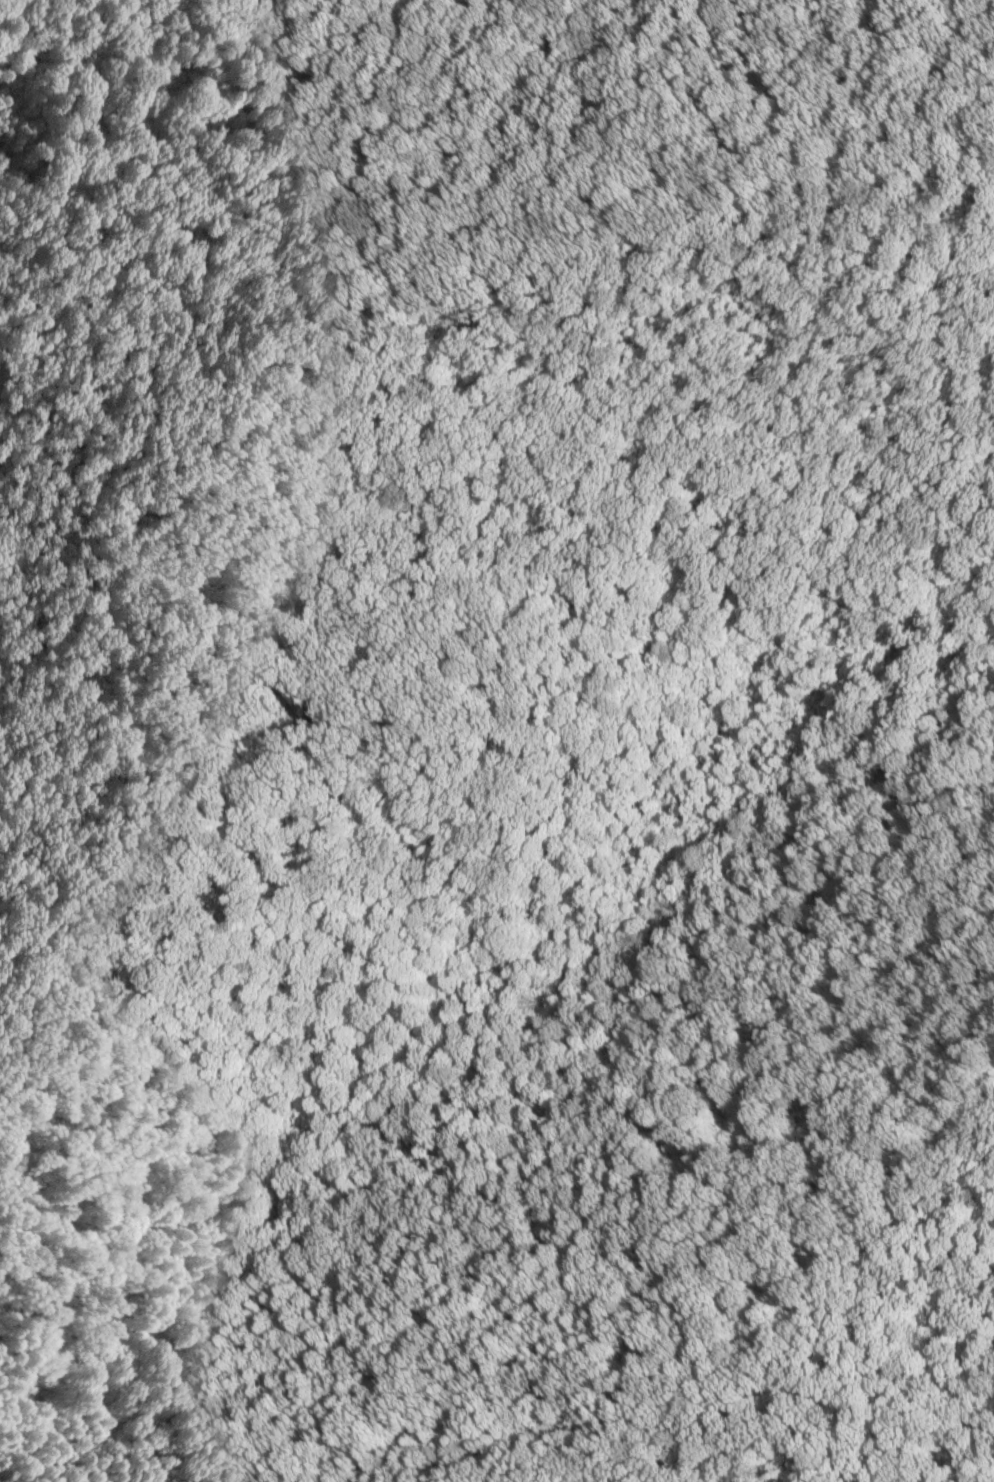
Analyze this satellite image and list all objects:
road: (104, 37)

